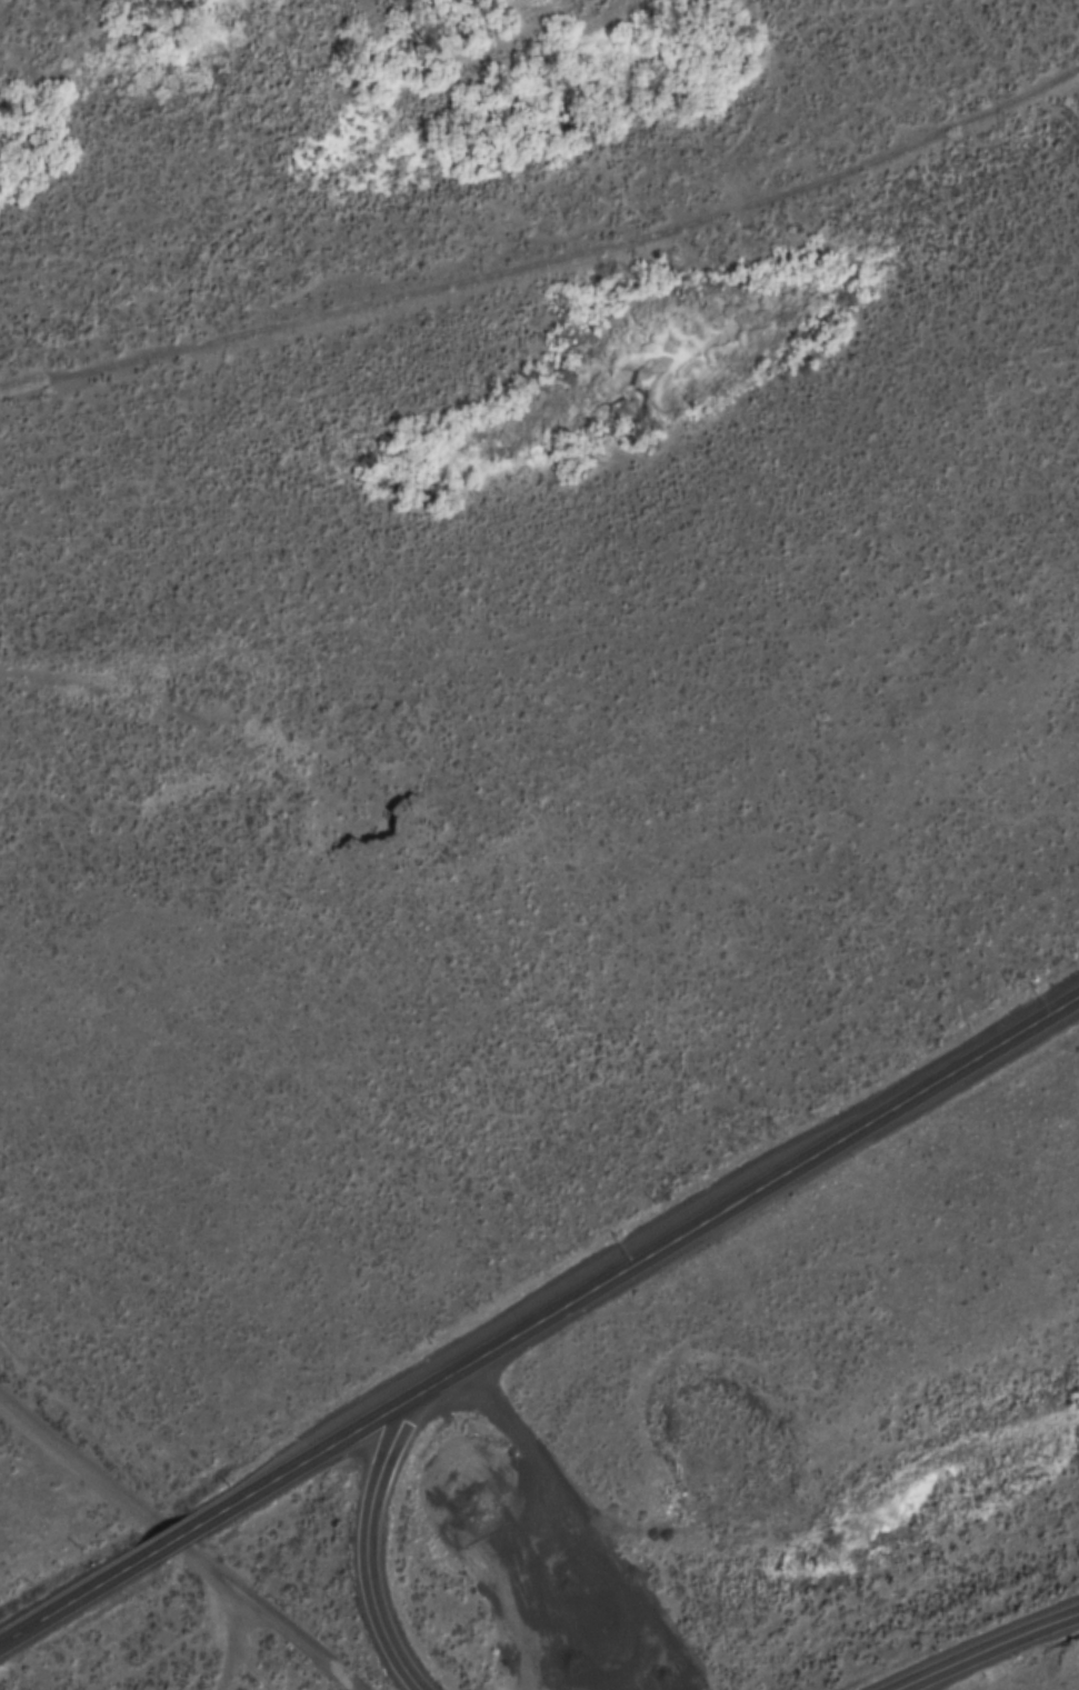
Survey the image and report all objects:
road: (550, 254)
road: (638, 1260)
road: (177, 1534)
road: (174, 1541)
road: (367, 1547)
road: (79, 1594)
road: (228, 1642)
road: (989, 1649)

